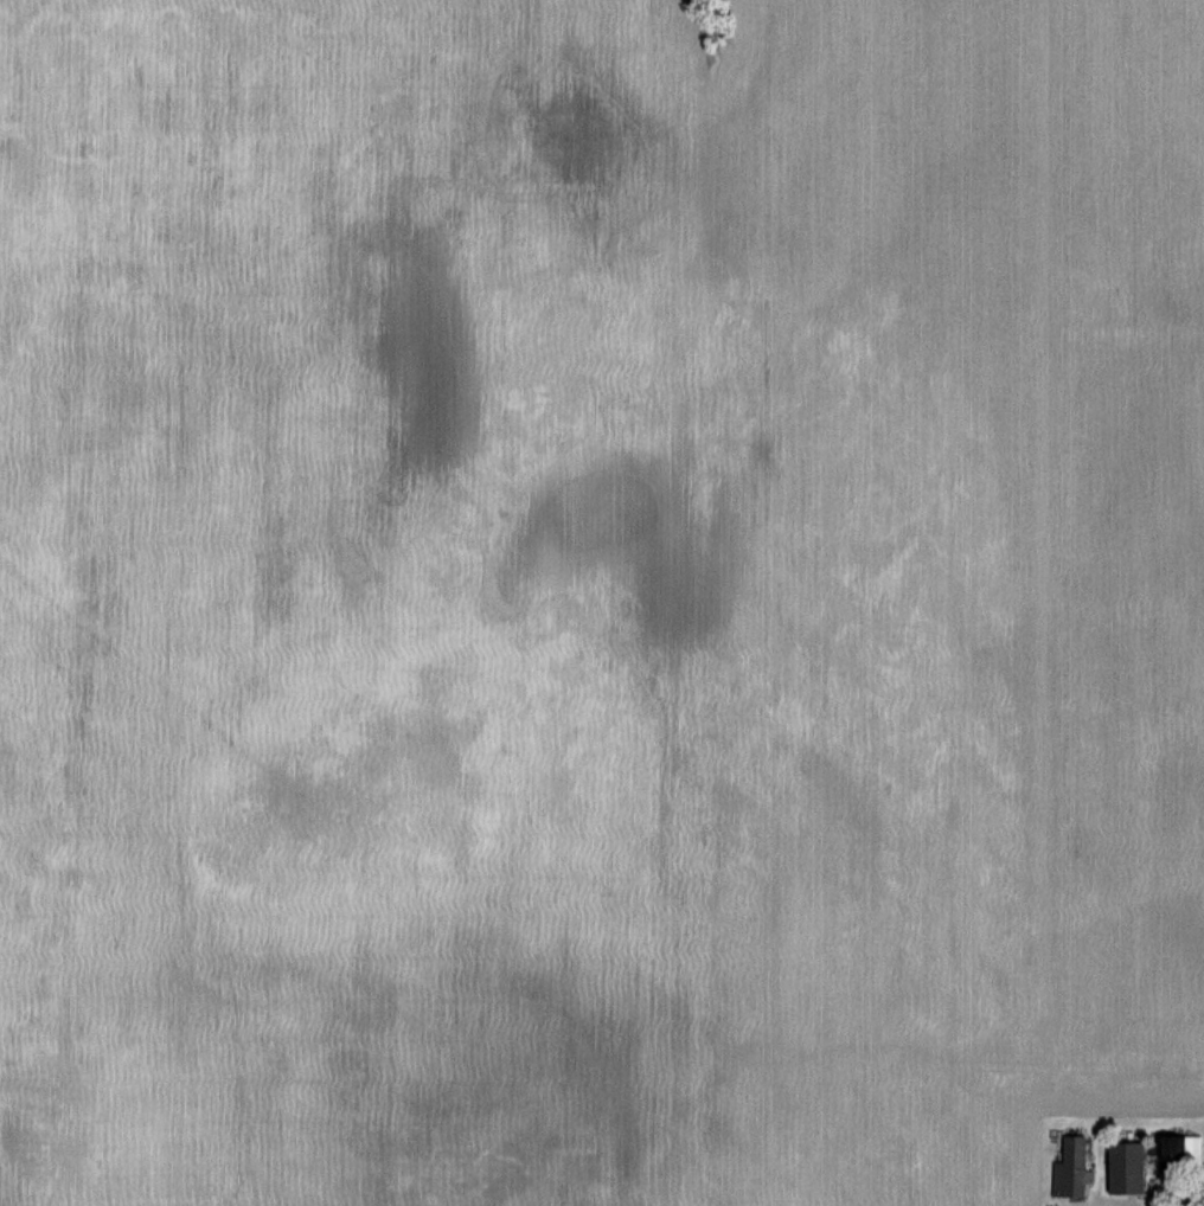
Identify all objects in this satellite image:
building: (1180, 1152)
building: (1069, 1167)
building: (1122, 1167)

